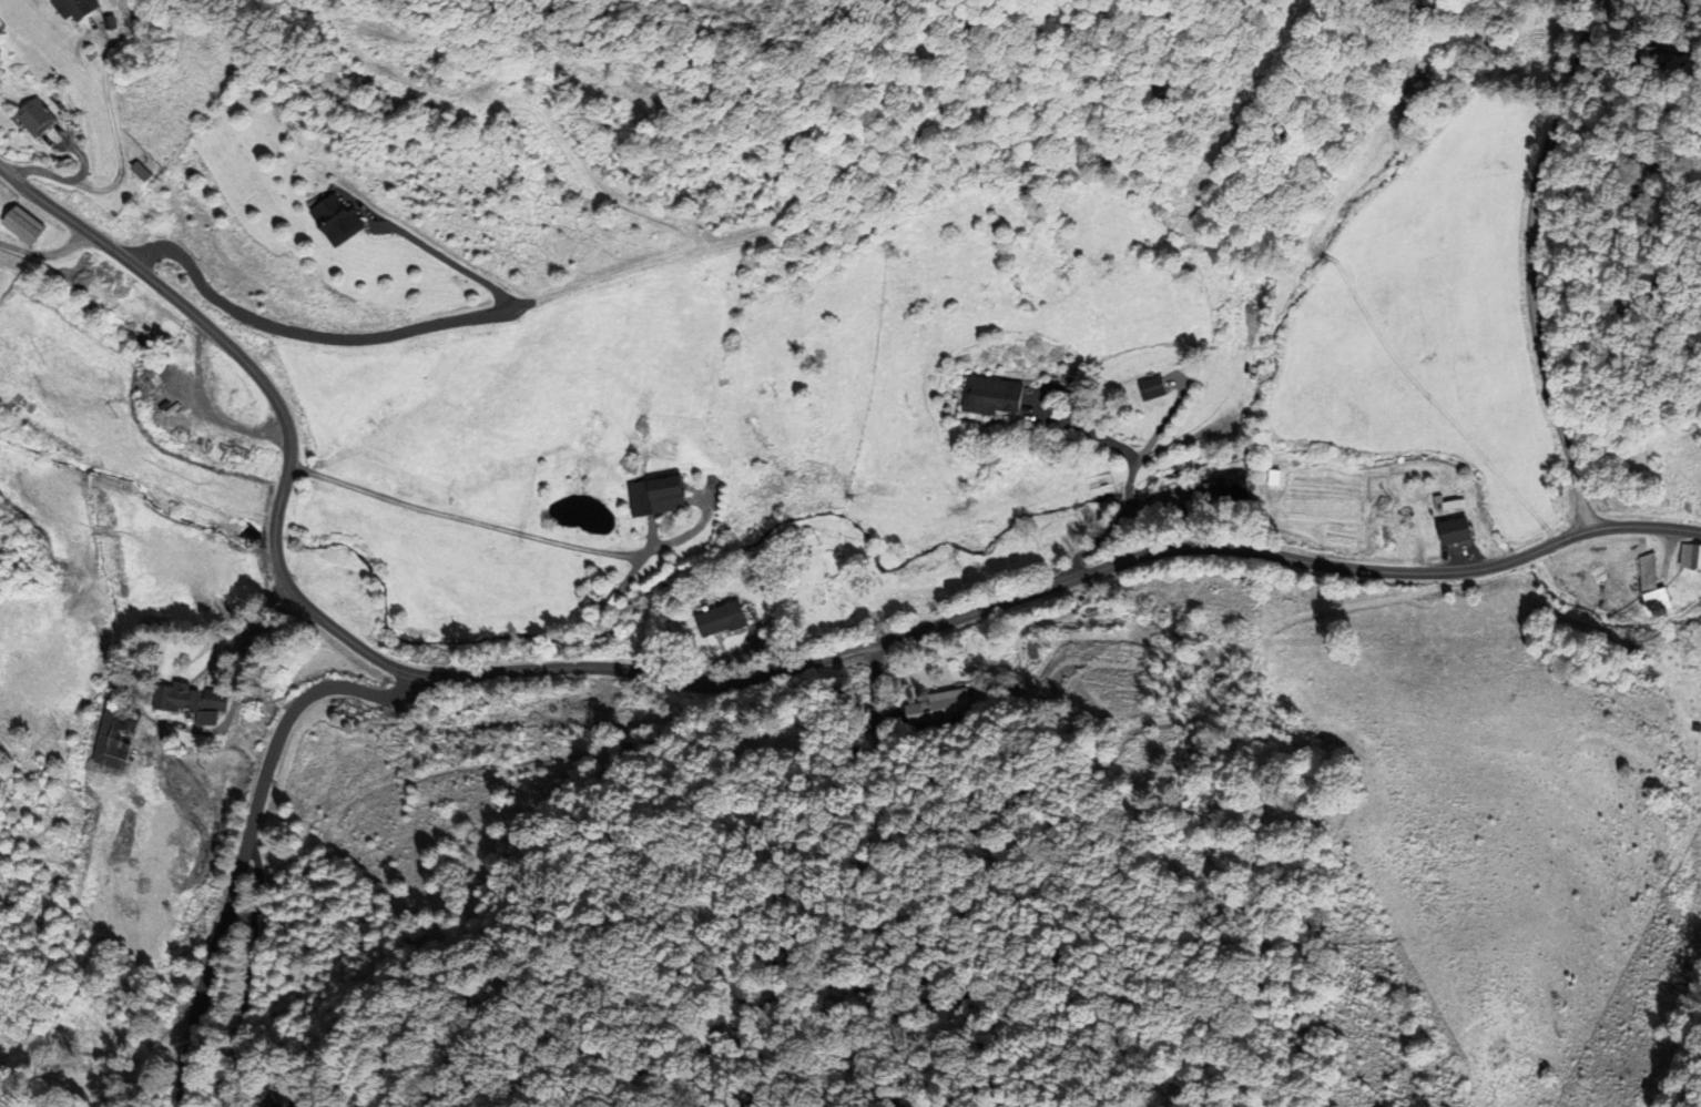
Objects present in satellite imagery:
building: (75, 9)
building: (34, 118)
building: (330, 221)
building: (20, 226)
road: (48, 257)
road: (450, 258)
road: (1529, 262)
road: (303, 335)
building: (1149, 388)
building: (991, 396)
building: (656, 497)
building: (1449, 531)
building: (1690, 558)
building: (1652, 588)
building: (717, 618)
road: (732, 657)
road: (715, 685)
building: (184, 702)
building: (924, 708)
building: (106, 738)
road: (246, 840)

